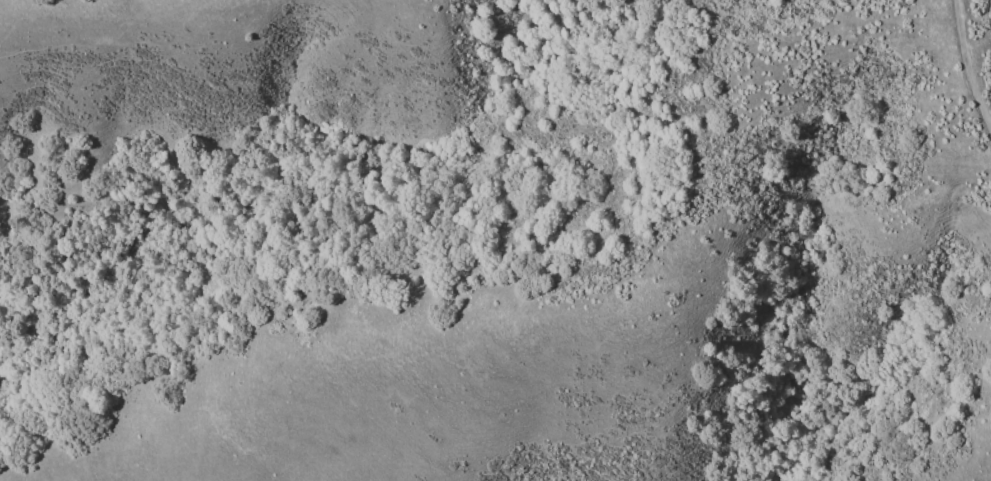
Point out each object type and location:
road: (965, 69)

